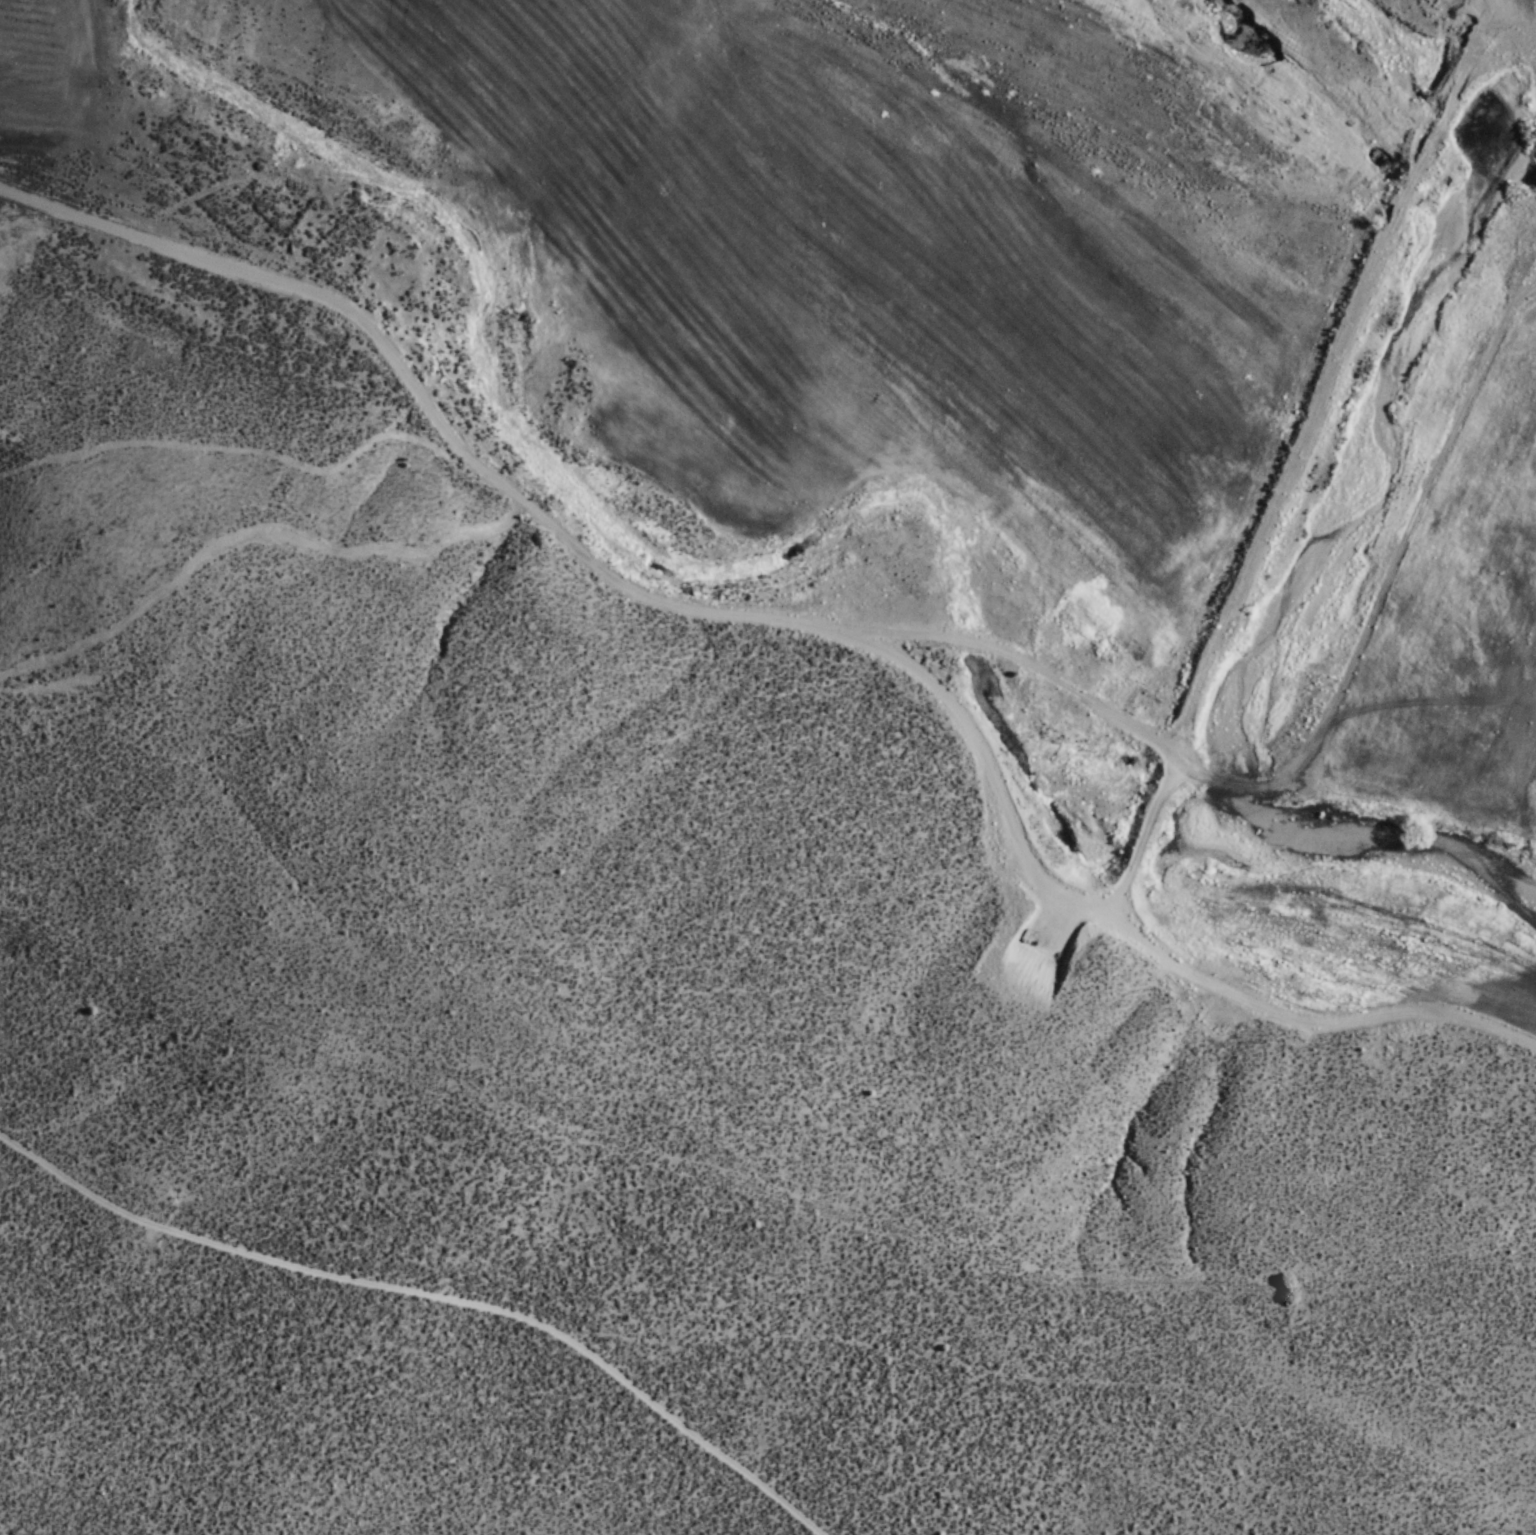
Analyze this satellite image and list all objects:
road: (175, 168)
road: (435, 1294)

